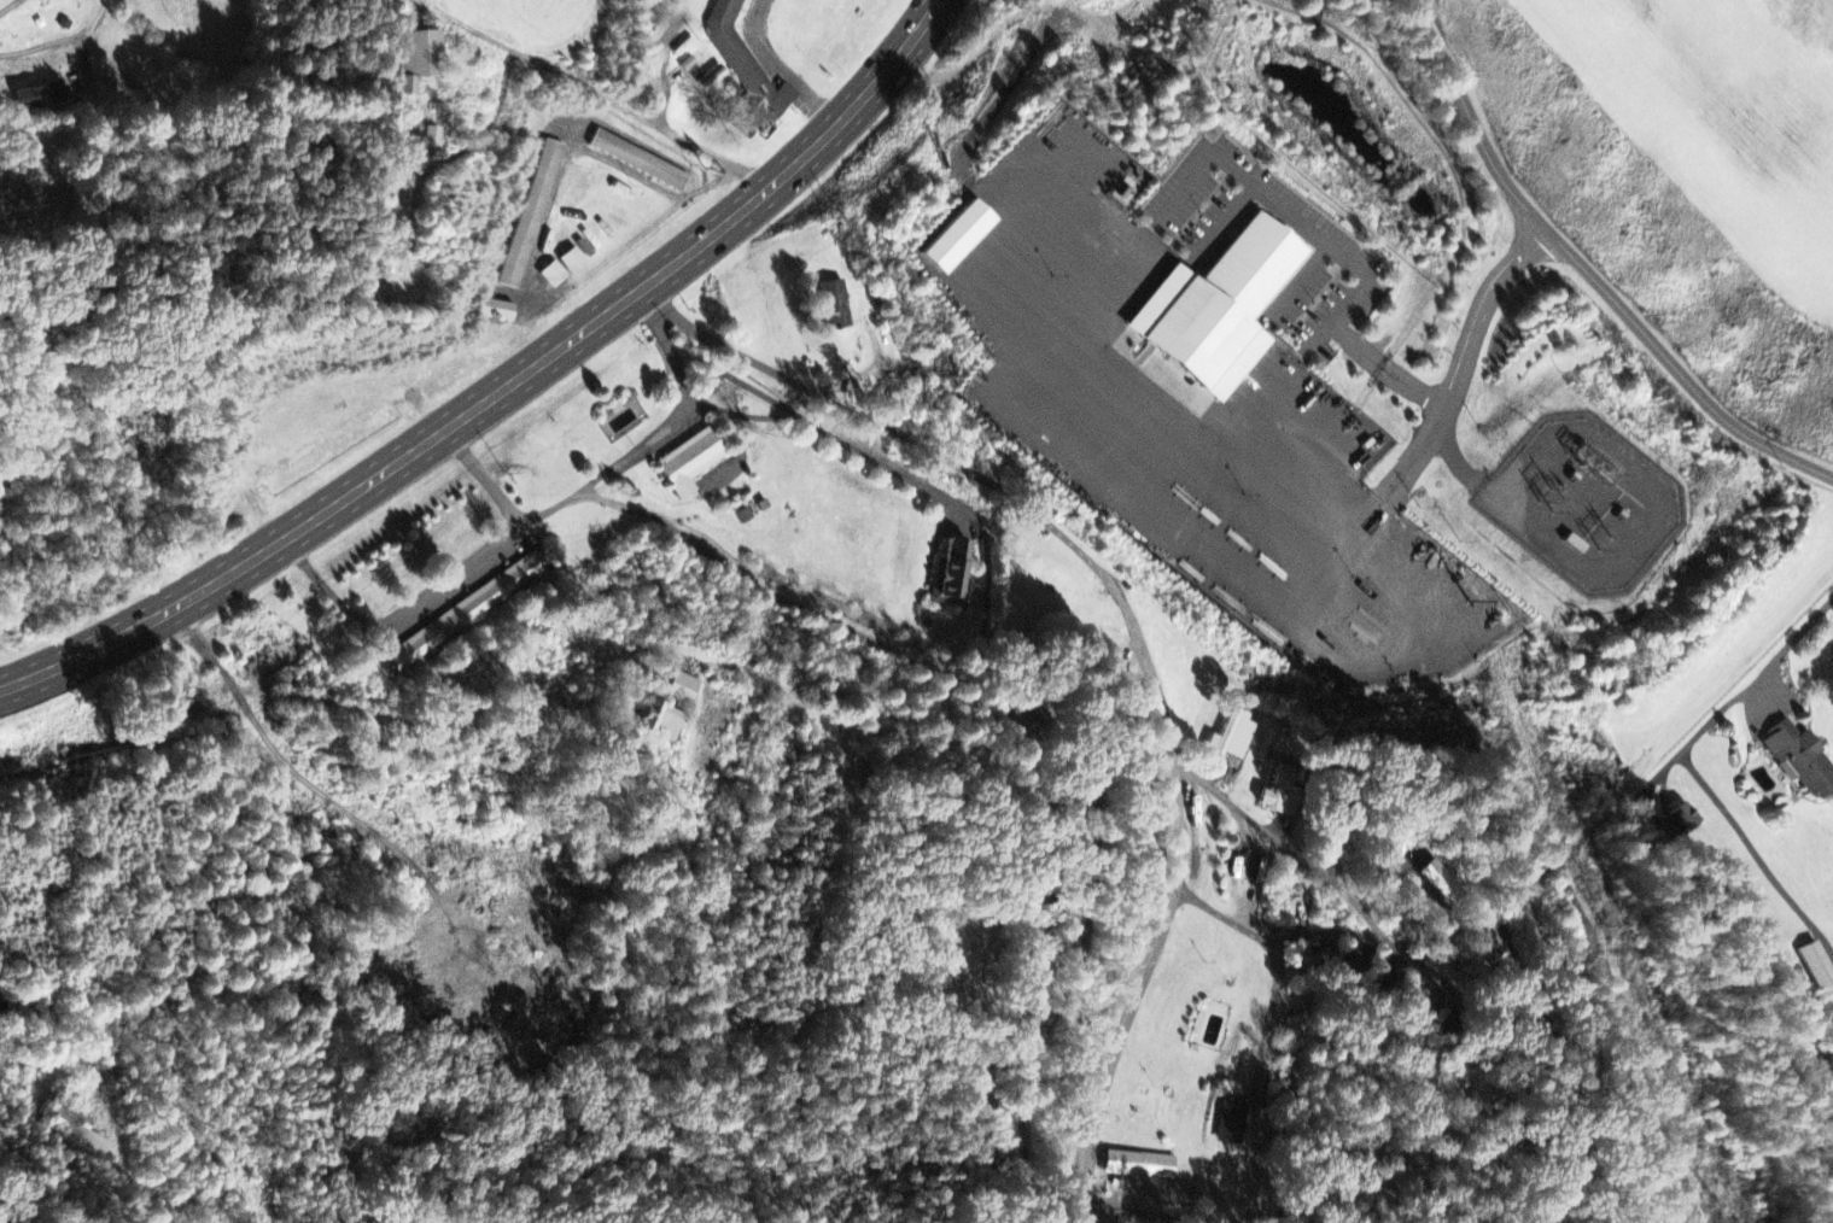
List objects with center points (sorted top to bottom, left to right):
road: (13, 10)
building: (418, 57)
building: (746, 72)
road: (595, 95)
building: (40, 99)
building: (430, 137)
building: (640, 162)
building: (532, 216)
building: (957, 239)
building: (573, 263)
road: (1586, 273)
building: (553, 276)
building: (837, 309)
building: (1220, 310)
building: (498, 311)
road: (503, 391)
building: (691, 463)
building: (951, 577)
building: (466, 613)
road: (1132, 624)
road: (975, 685)
building: (684, 689)
road: (253, 713)
building: (661, 724)
building: (1233, 739)
building: (1803, 762)
building: (1282, 792)
road: (1286, 845)
building: (1399, 850)
building: (1441, 884)
road: (1350, 934)
park: (971, 965)
building: (1819, 966)
building: (1832, 1018)
road: (1260, 1090)
building: (59, 1112)
building: (1232, 1125)
building: (89, 1143)
building: (1140, 1166)
road: (1139, 1215)

